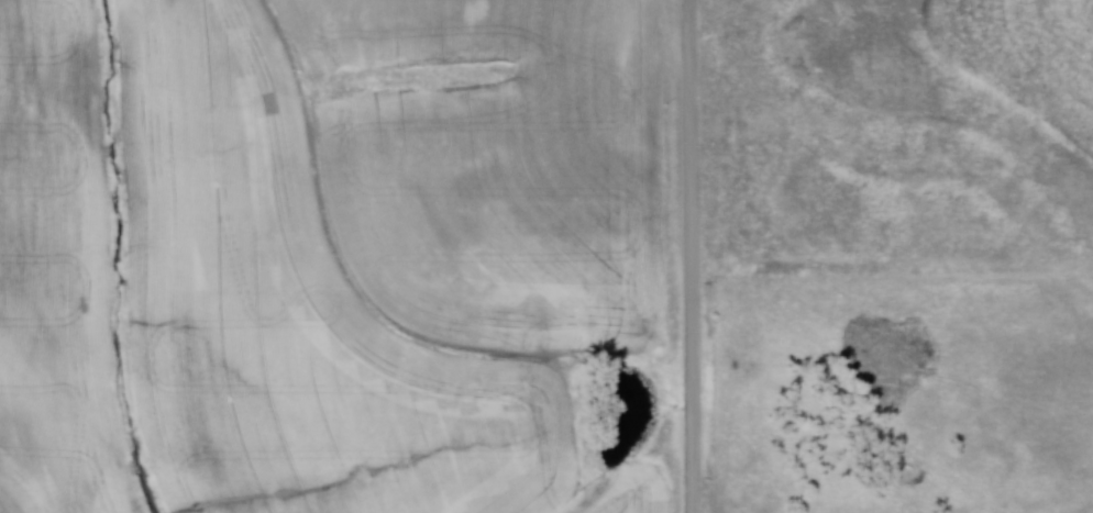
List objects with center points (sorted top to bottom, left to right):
road: (695, 256)

